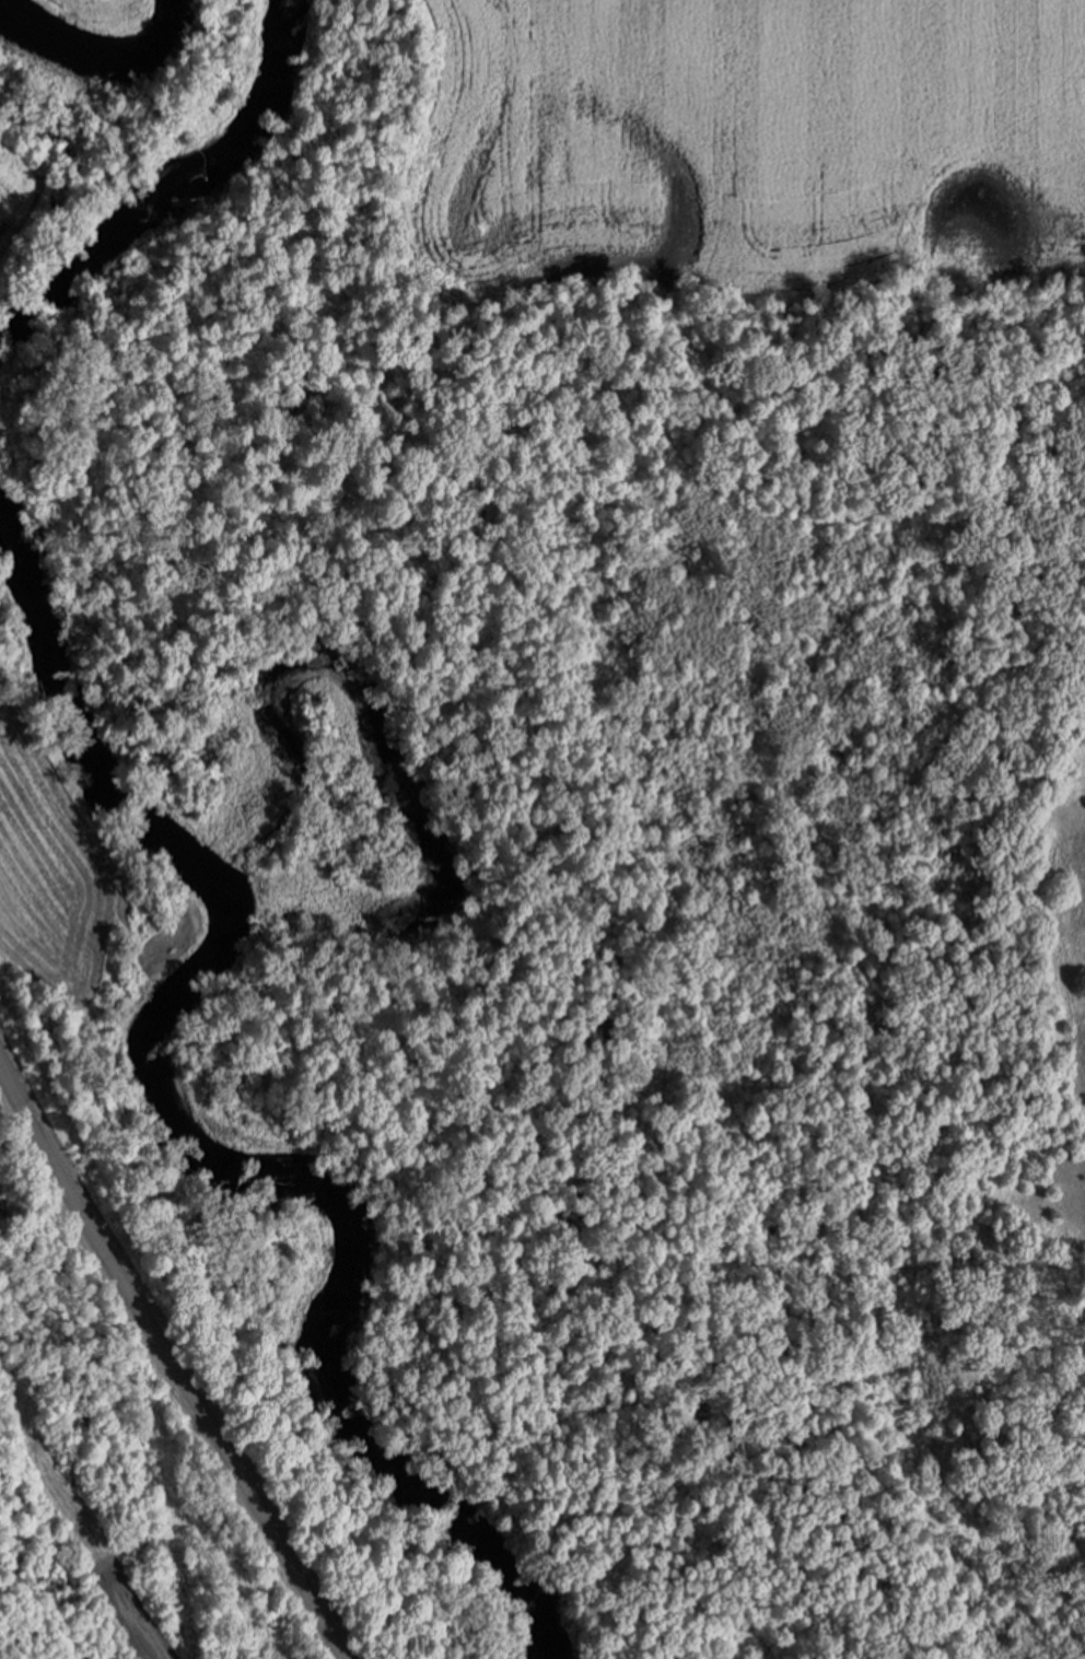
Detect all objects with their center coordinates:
river: (92, 42)
river: (168, 184)
river: (189, 1130)
road: (168, 1363)

